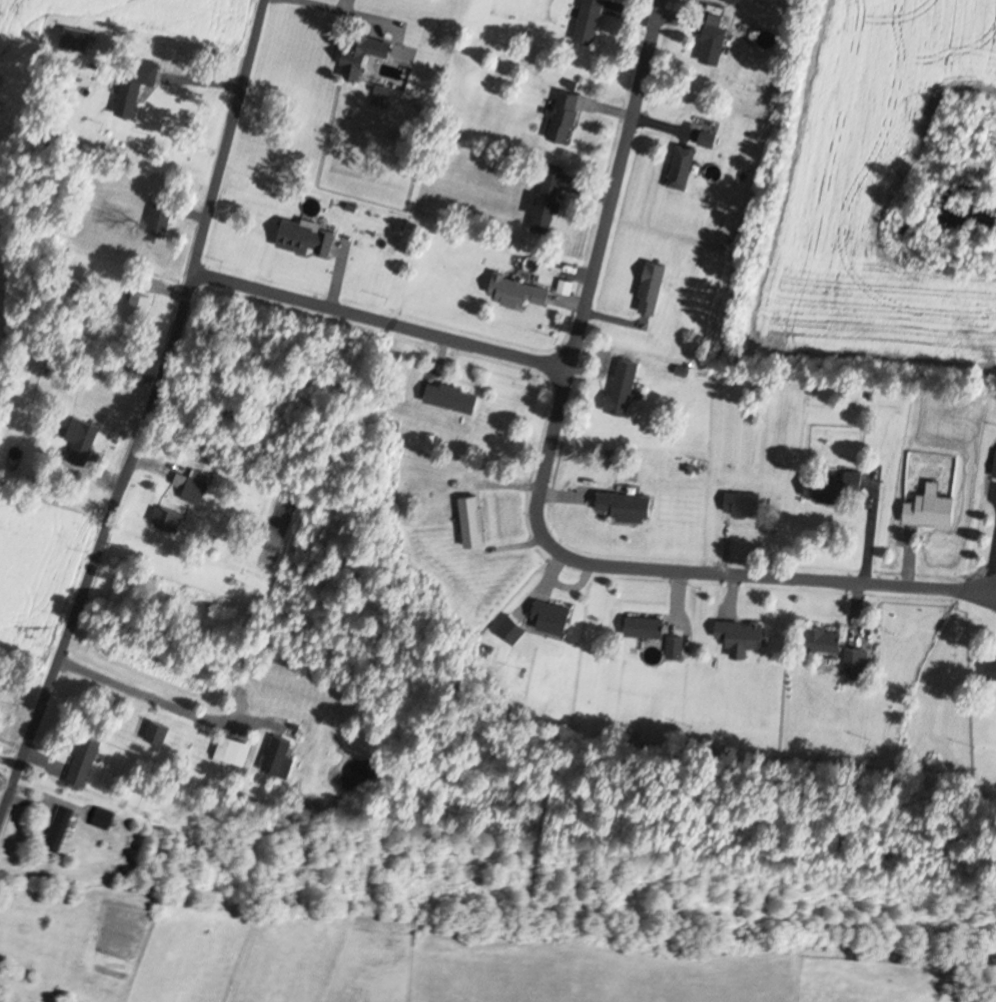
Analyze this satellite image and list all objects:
building: (590, 20)
building: (77, 40)
building: (714, 40)
building: (377, 46)
building: (355, 66)
building: (136, 83)
building: (566, 115)
building: (683, 166)
road: (617, 184)
building: (547, 200)
building: (162, 218)
building: (307, 238)
building: (653, 287)
building: (518, 290)
building: (140, 307)
road: (382, 319)
building: (624, 386)
building: (453, 396)
road: (149, 418)
building: (83, 441)
building: (195, 484)
building: (833, 487)
building: (745, 504)
building: (628, 506)
building: (934, 509)
building: (168, 518)
building: (474, 521)
road: (680, 569)
building: (552, 617)
building: (647, 627)
building: (743, 636)
building: (825, 639)
building: (677, 647)
building: (856, 659)
building: (993, 669)
building: (158, 732)
building: (229, 749)
building: (281, 756)
building: (85, 761)
building: (103, 819)
building: (58, 830)

